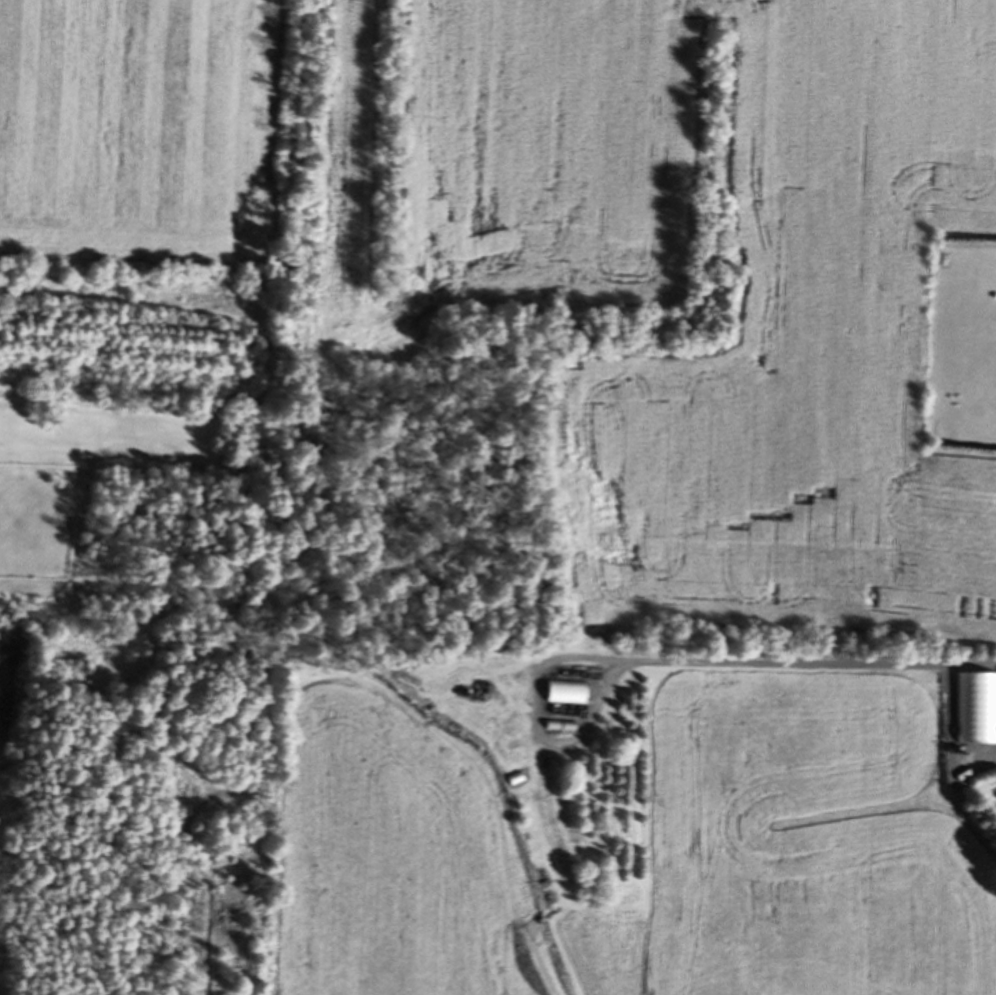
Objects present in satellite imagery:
road: (809, 660)
building: (976, 712)
building: (566, 717)

